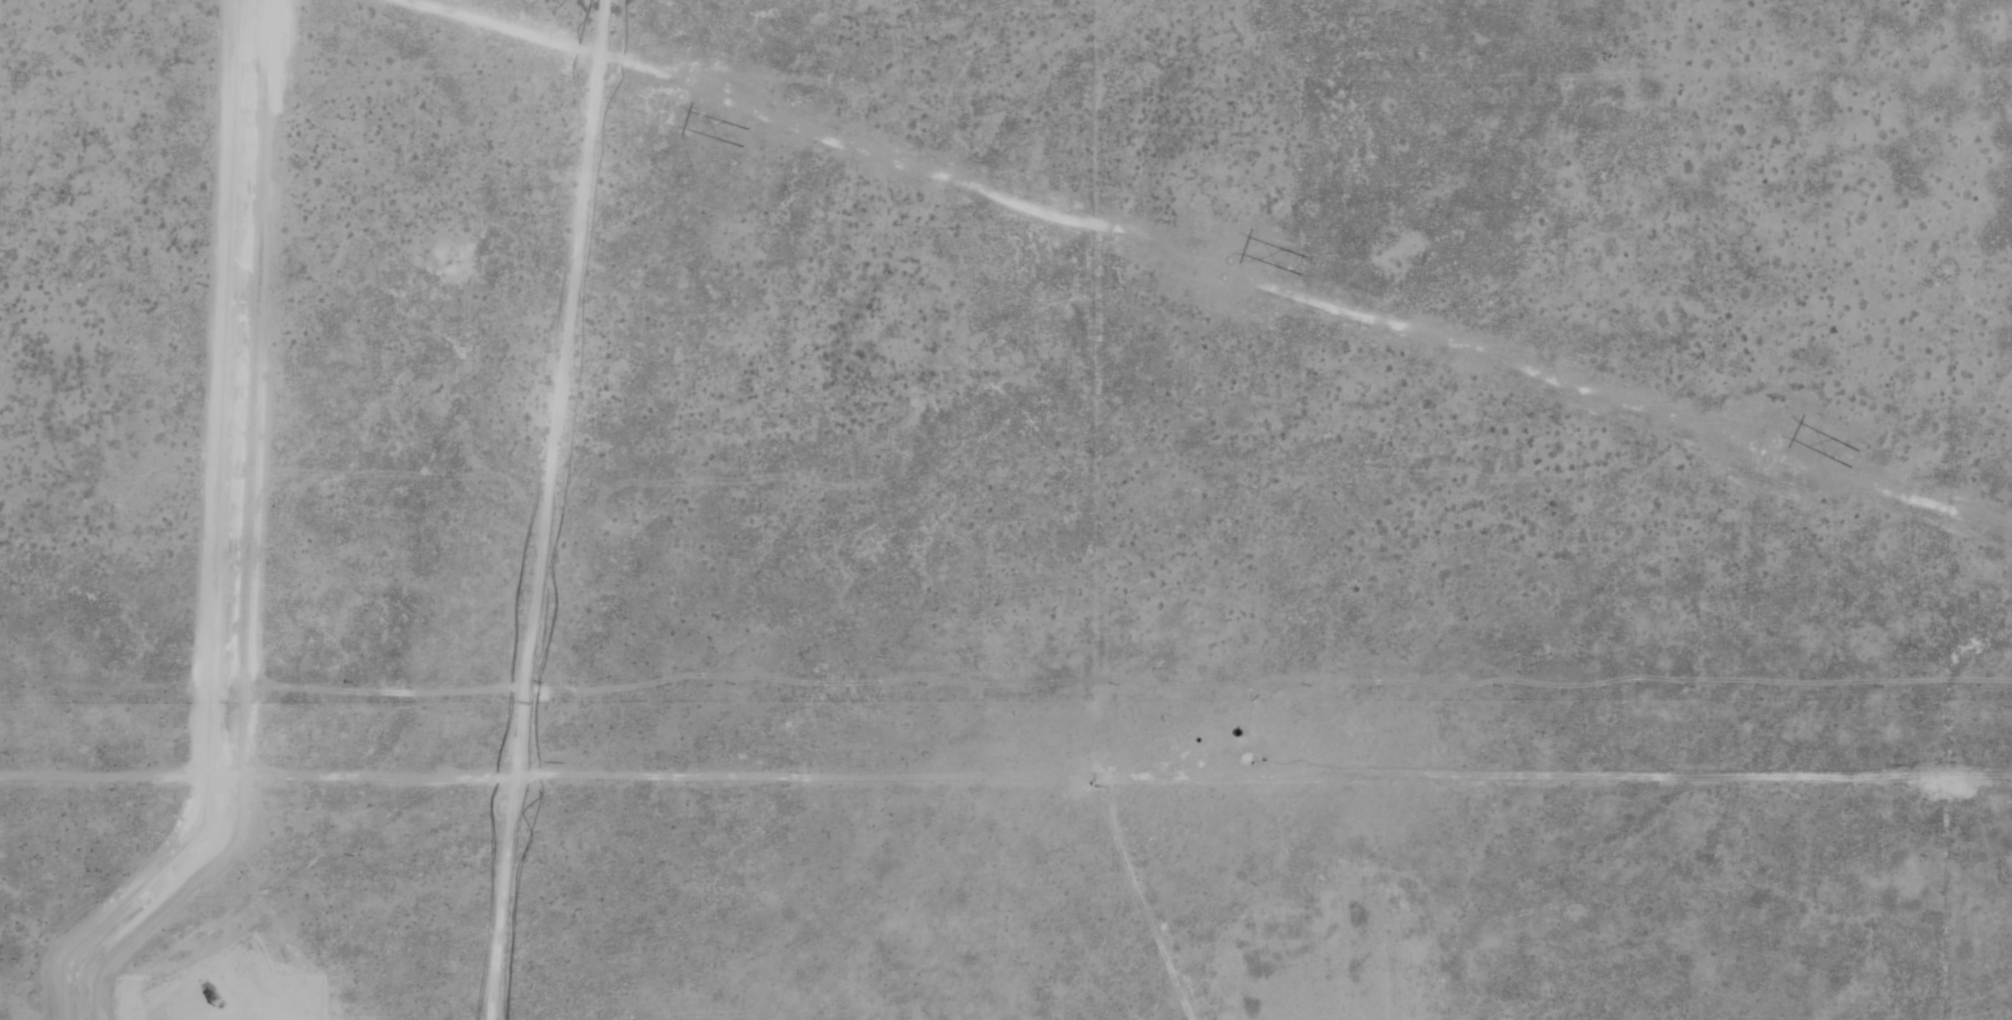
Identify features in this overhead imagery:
road: (544, 509)
road: (258, 1017)

